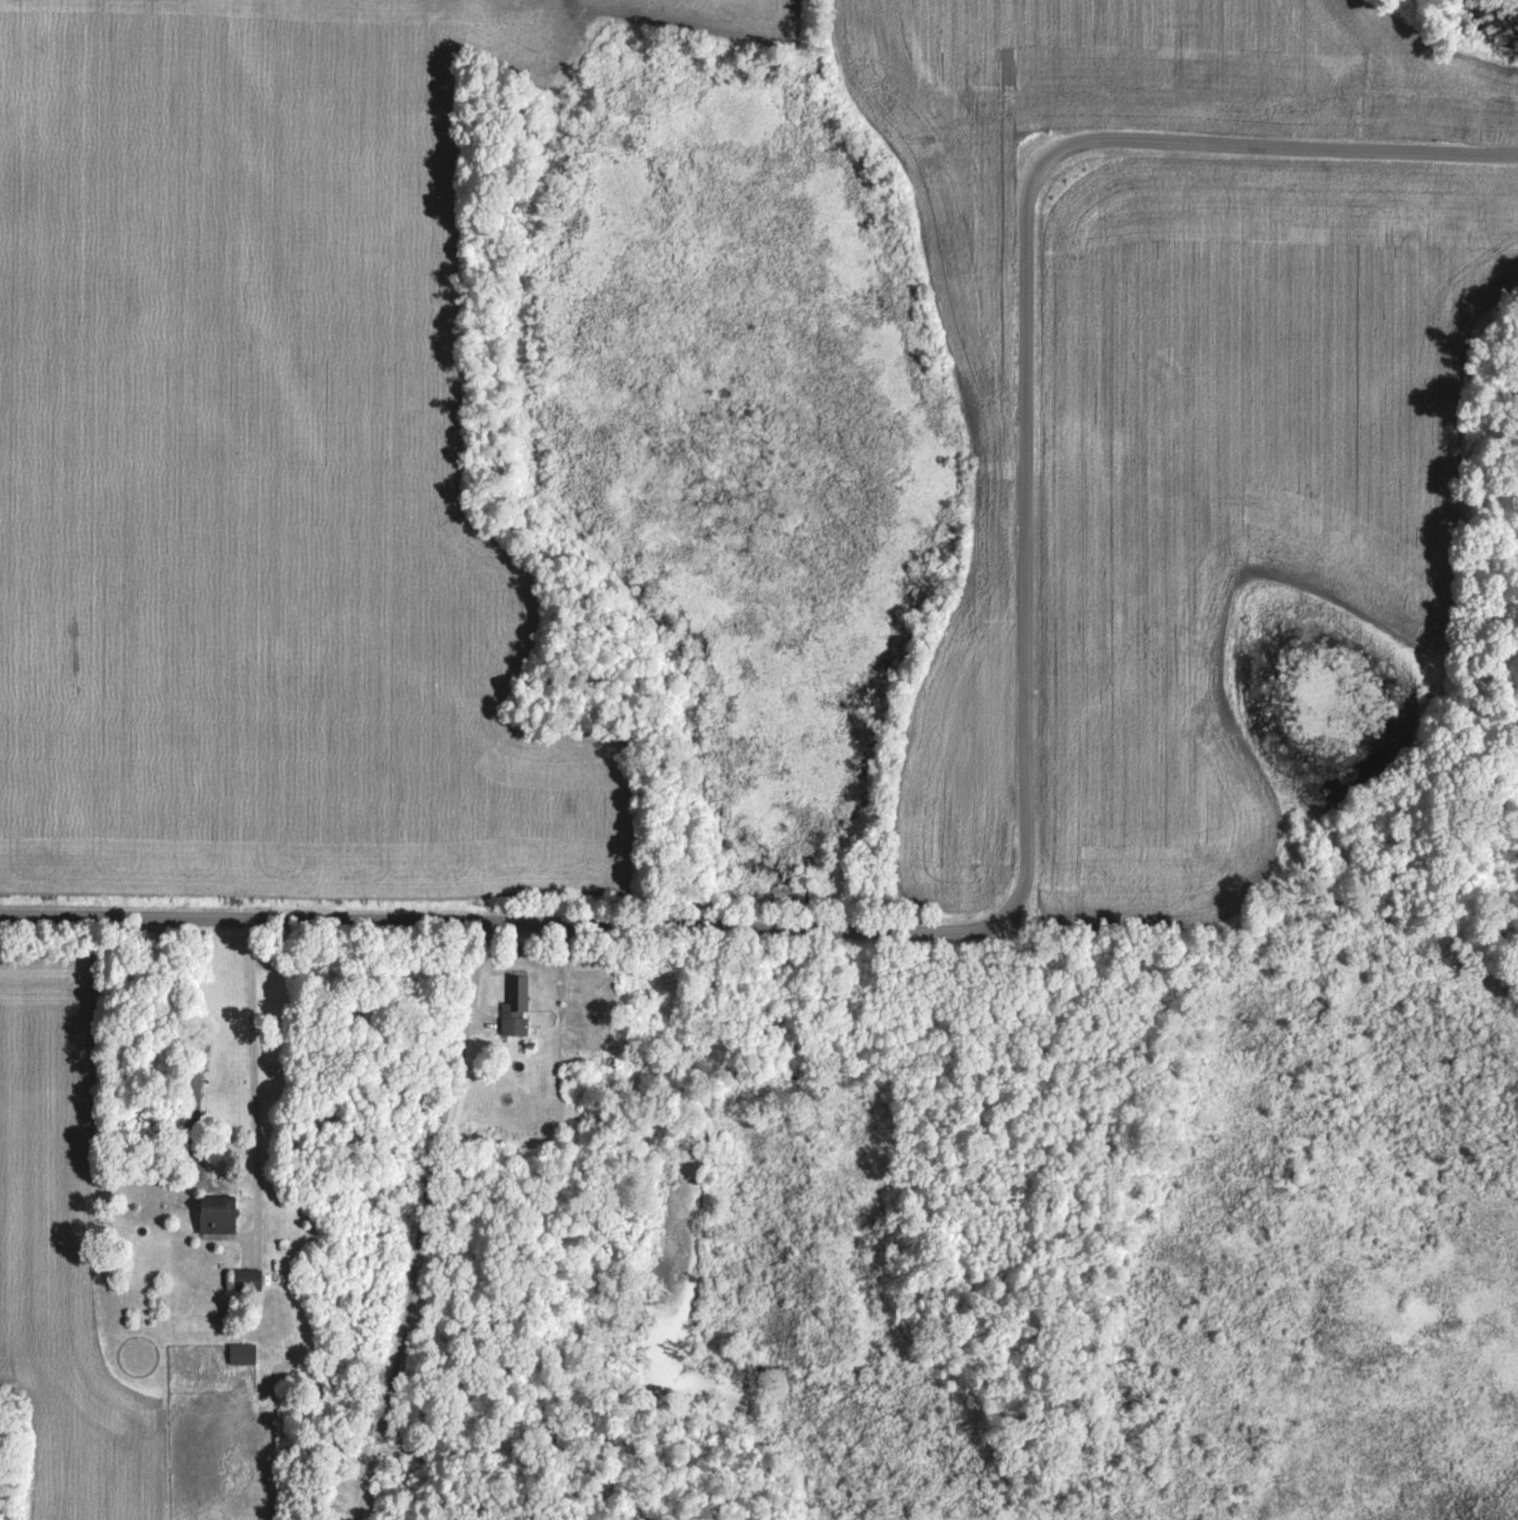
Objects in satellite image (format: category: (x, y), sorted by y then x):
road: (1025, 800)
building: (513, 1003)
building: (593, 1011)
road: (253, 1077)
building: (214, 1214)
road: (417, 1220)
building: (246, 1278)
building: (240, 1353)

